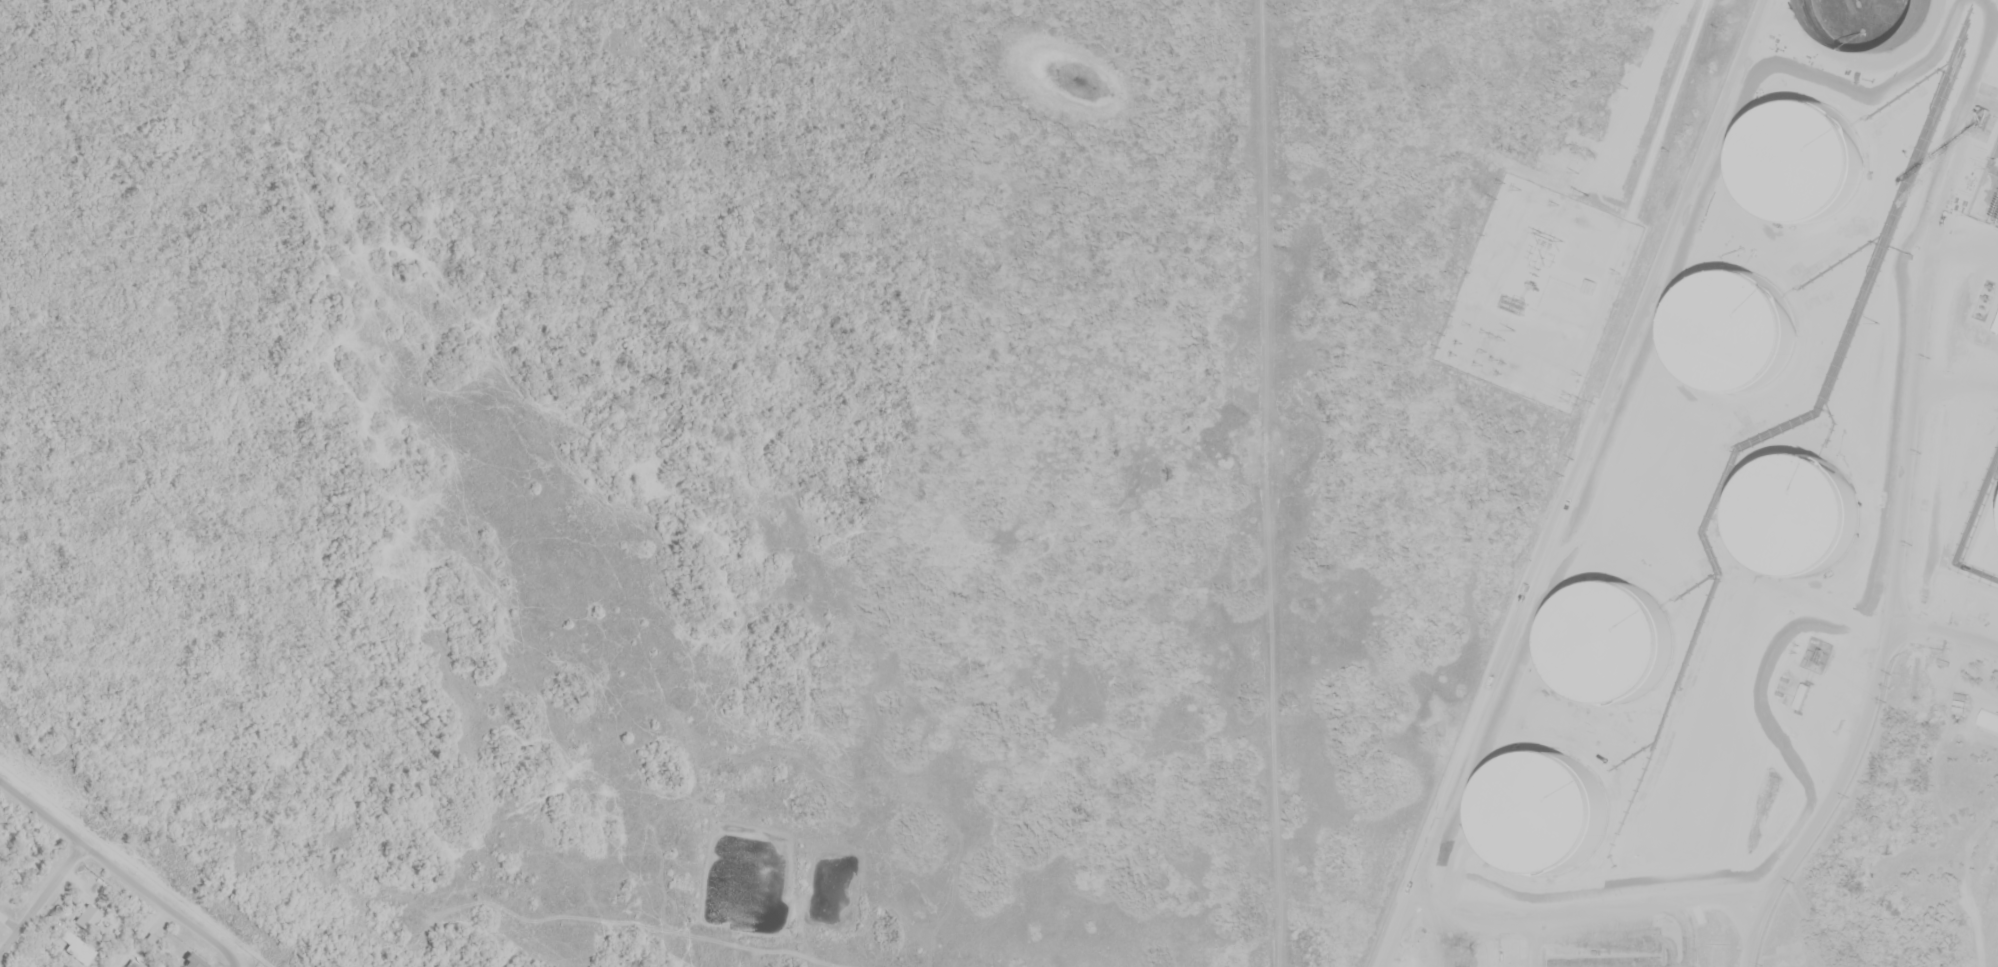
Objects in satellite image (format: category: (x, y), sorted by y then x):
road: (1671, 110)
power substation: (1538, 292)
road: (1899, 524)
road: (1944, 631)
building: (1548, 758)
road: (120, 869)
road: (42, 897)
building: (1698, 913)
building: (1462, 939)
building: (152, 942)
building: (1508, 952)
building: (191, 961)
road: (234, 966)

